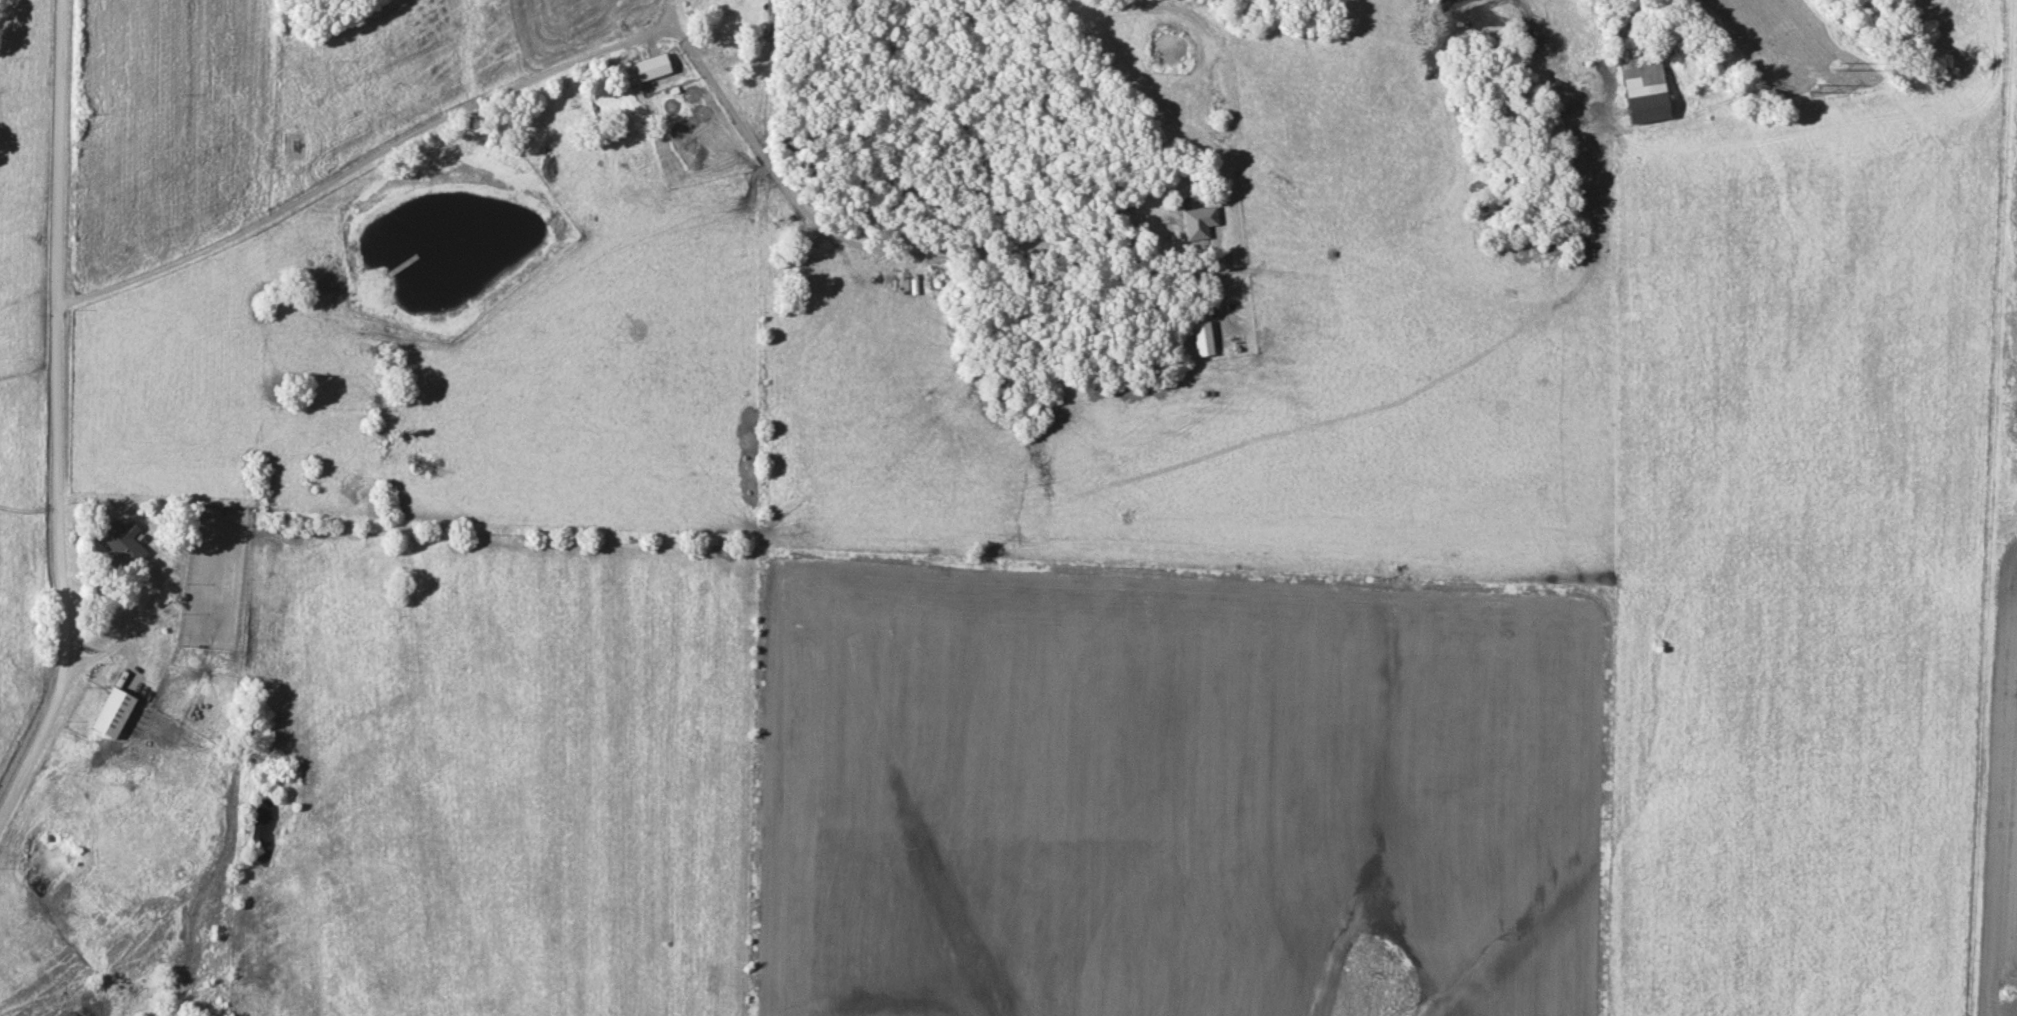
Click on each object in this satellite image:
road: (668, 16)
road: (630, 40)
power tower: (1834, 66)
building: (644, 68)
building: (1641, 88)
power tower: (1812, 88)
building: (1196, 222)
road: (53, 412)
building: (118, 542)
road: (123, 643)
building: (109, 713)
power tower: (2011, 986)

